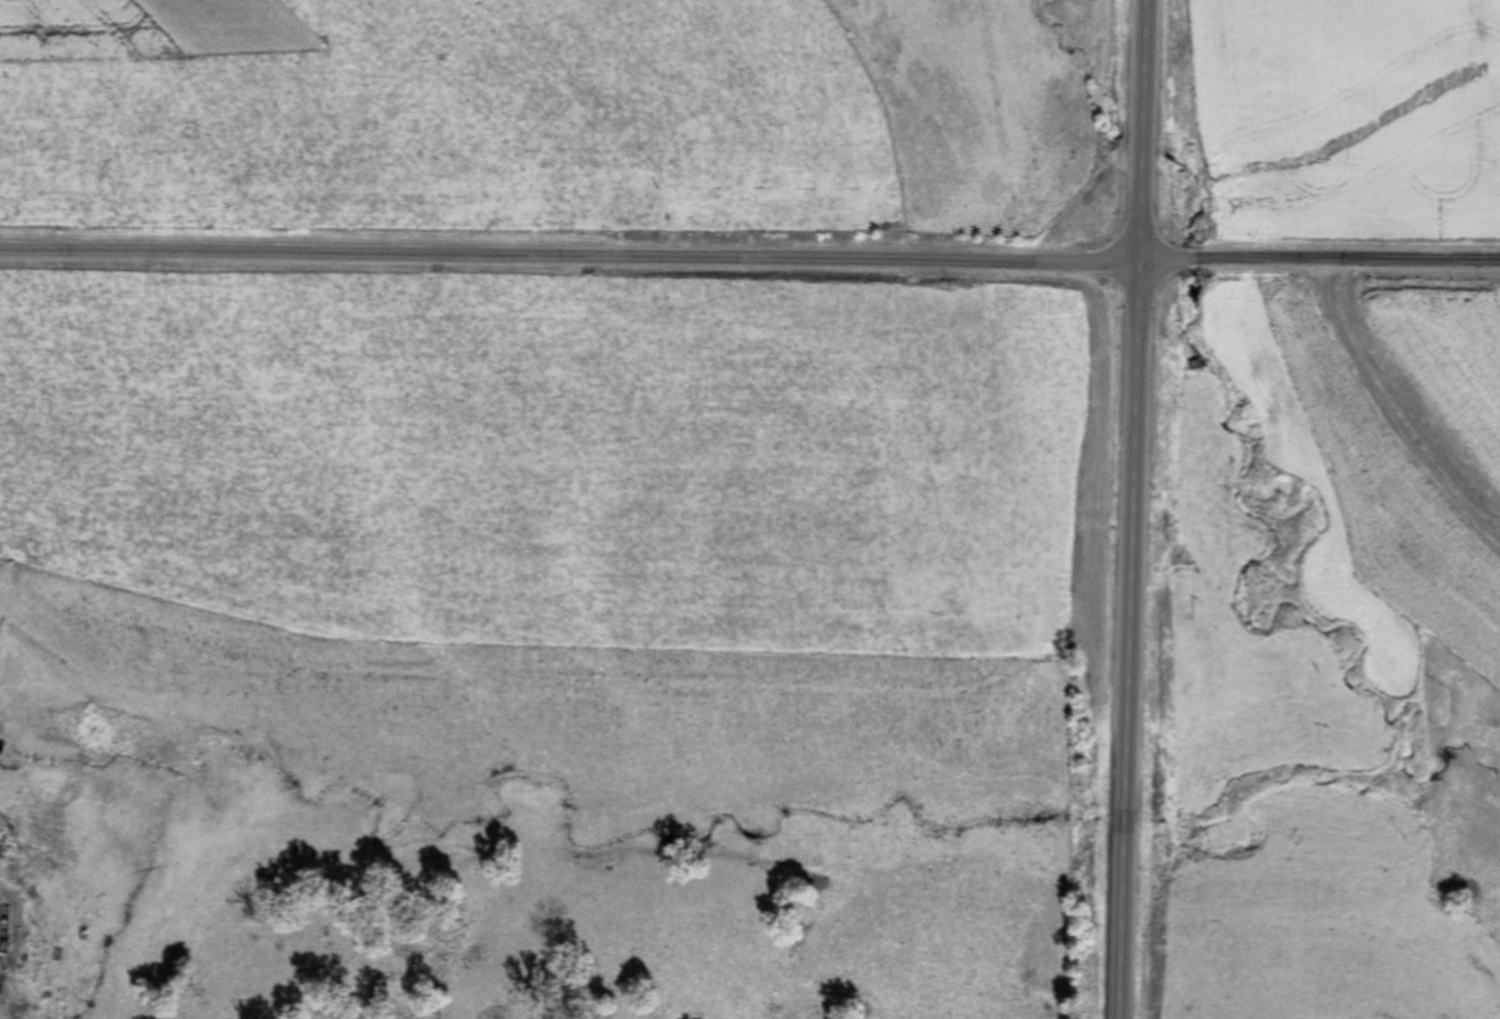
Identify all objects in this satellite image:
road: (749, 258)
road: (1133, 509)

